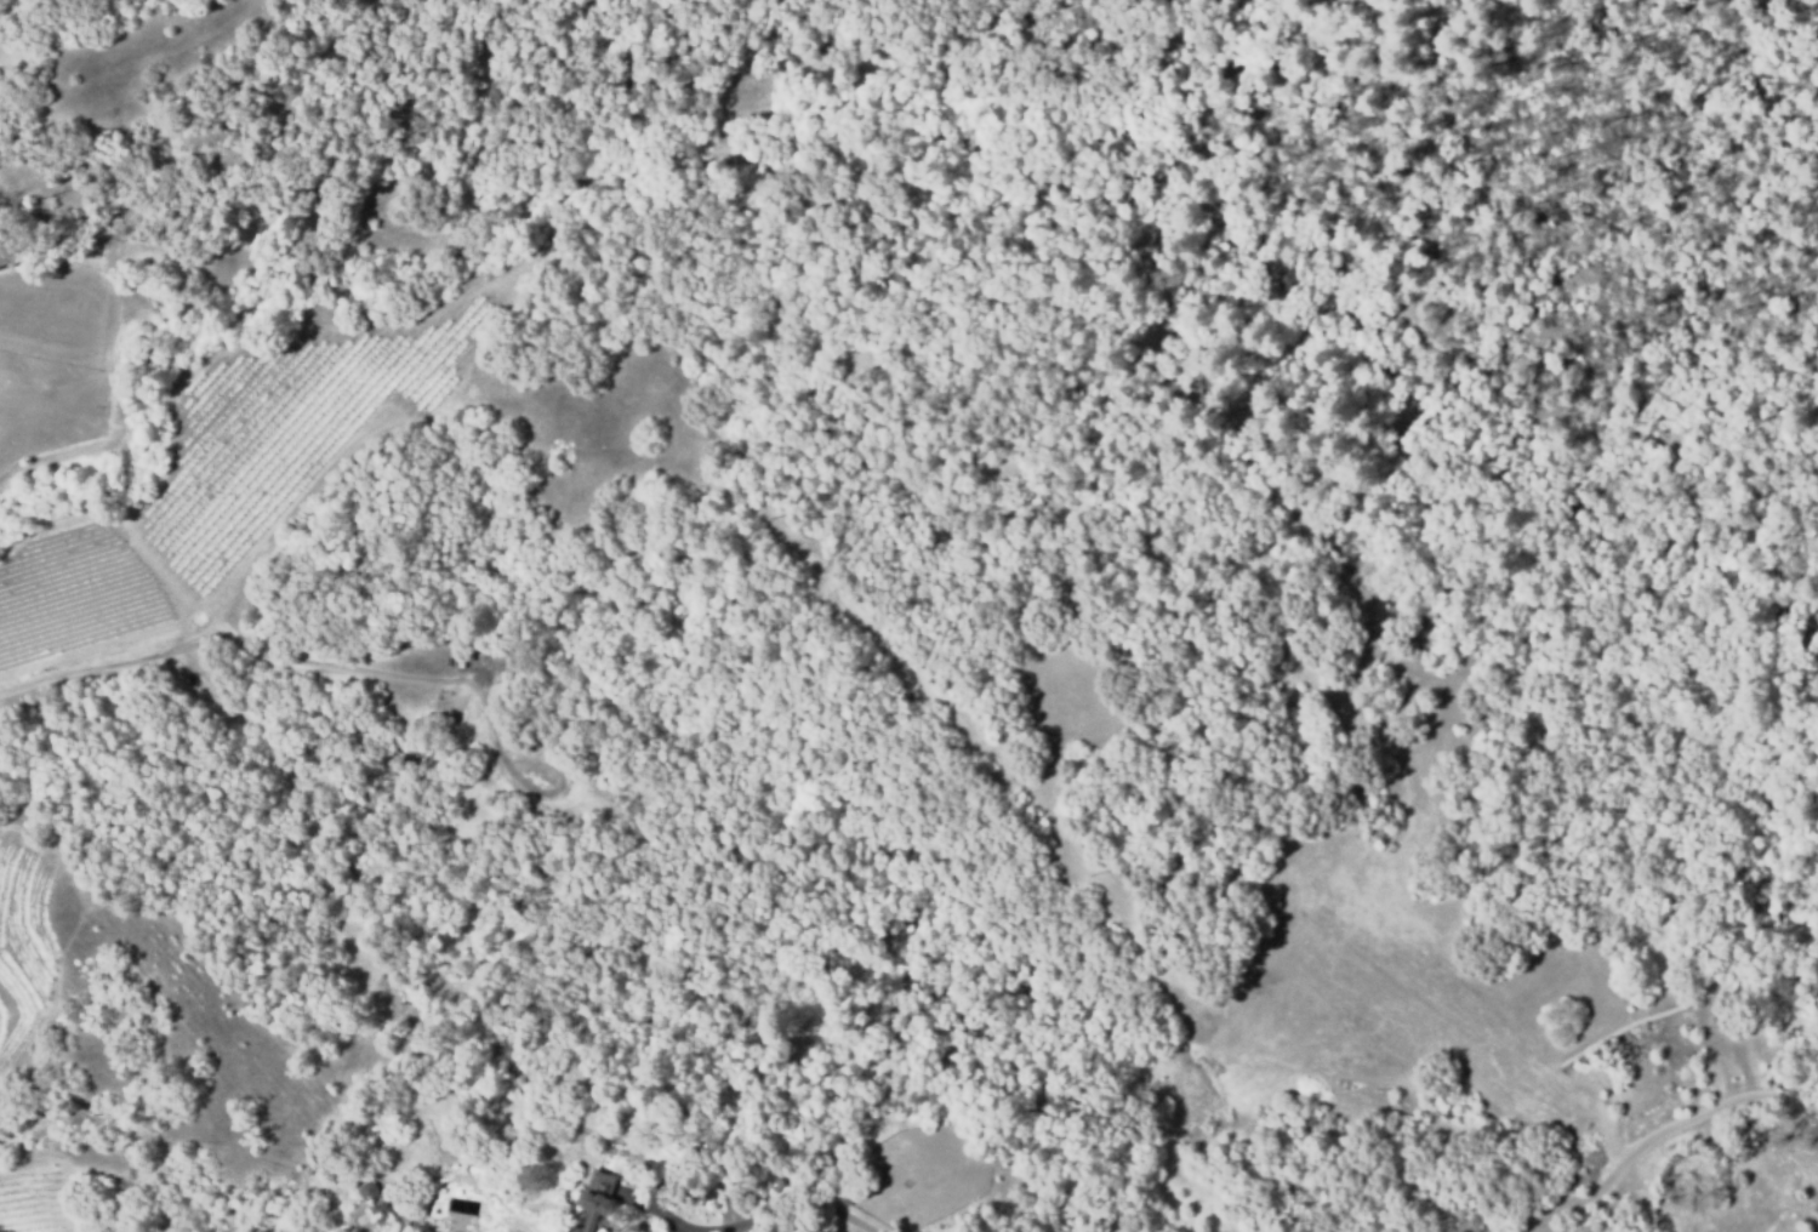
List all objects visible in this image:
building: (468, 650)
building: (460, 658)
building: (511, 662)
road: (1660, 1135)
building: (366, 1191)
building: (844, 1191)
building: (599, 1198)

